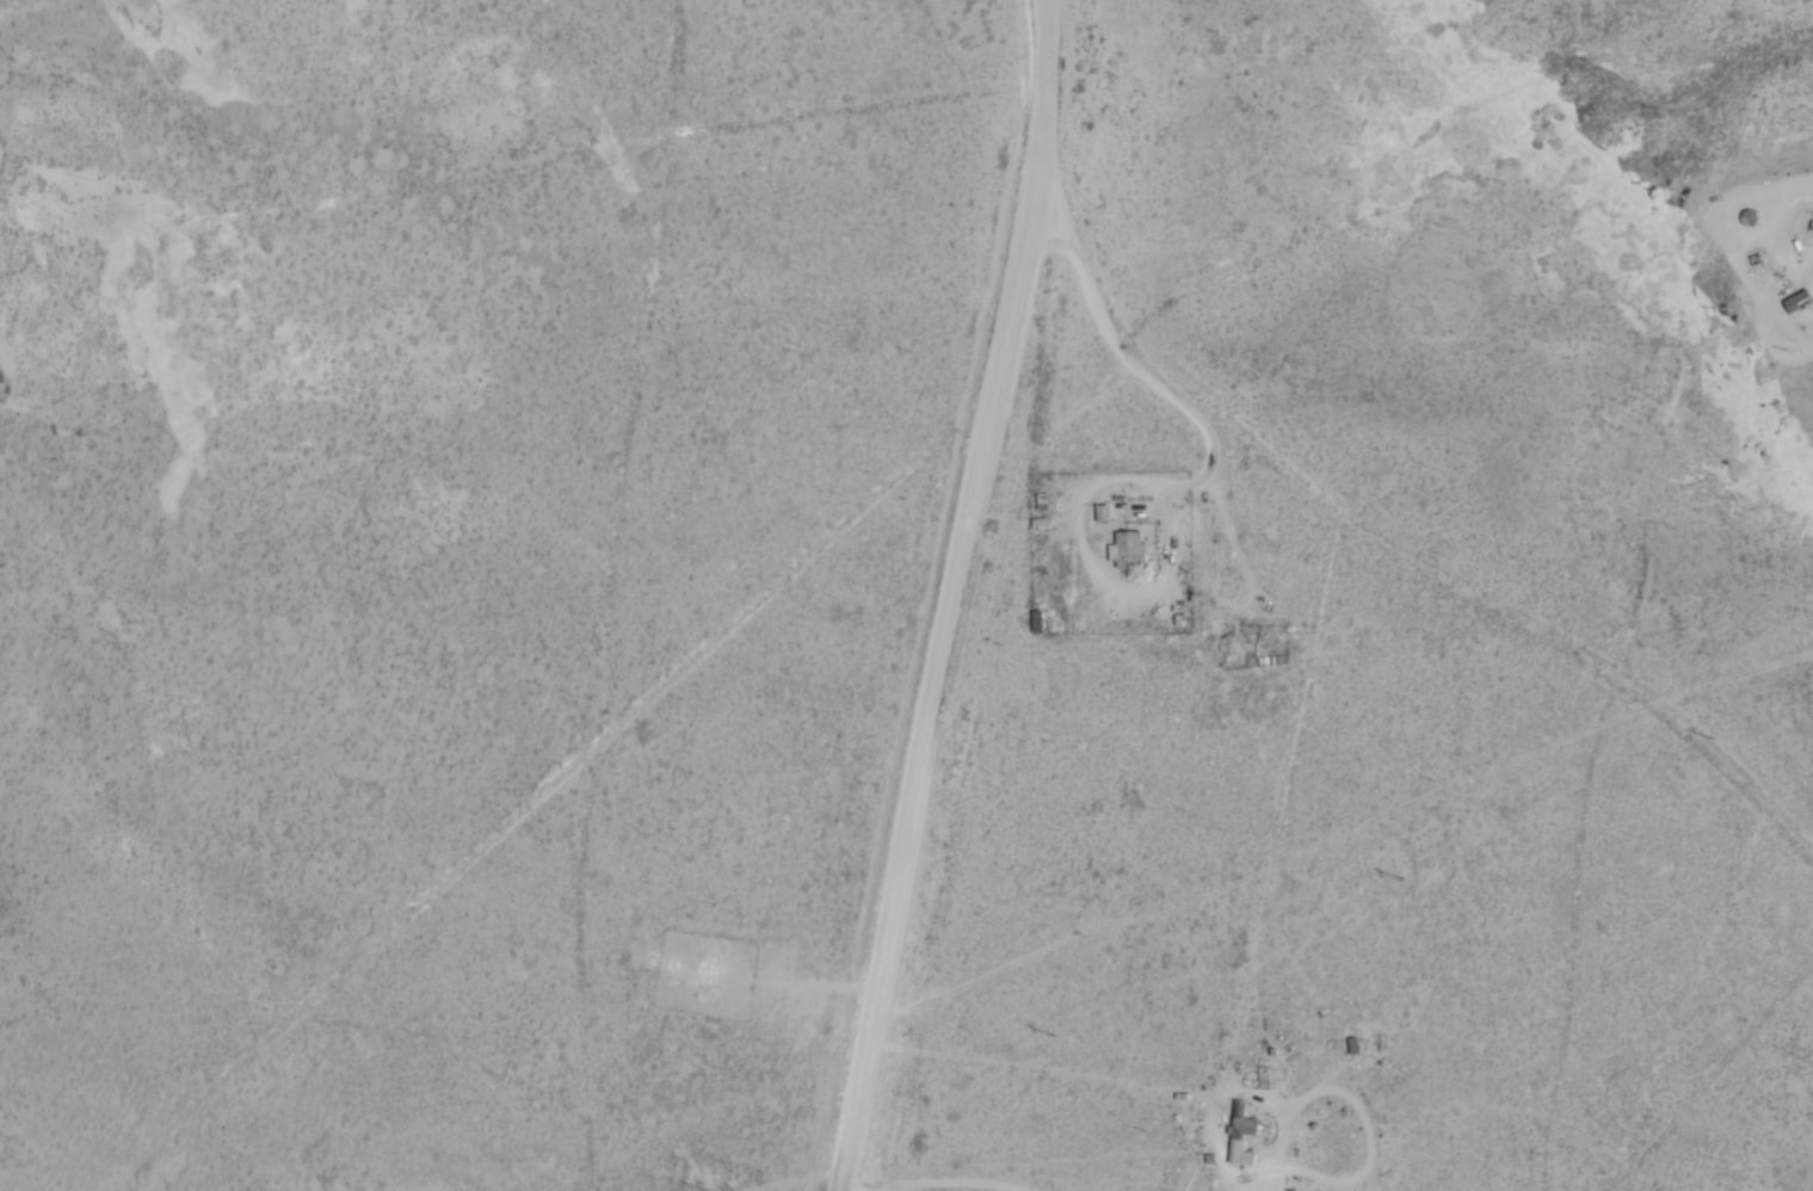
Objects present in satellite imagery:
building: (1799, 303)
road: (1375, 539)
building: (1130, 549)
road: (969, 597)
building: (1242, 1122)

